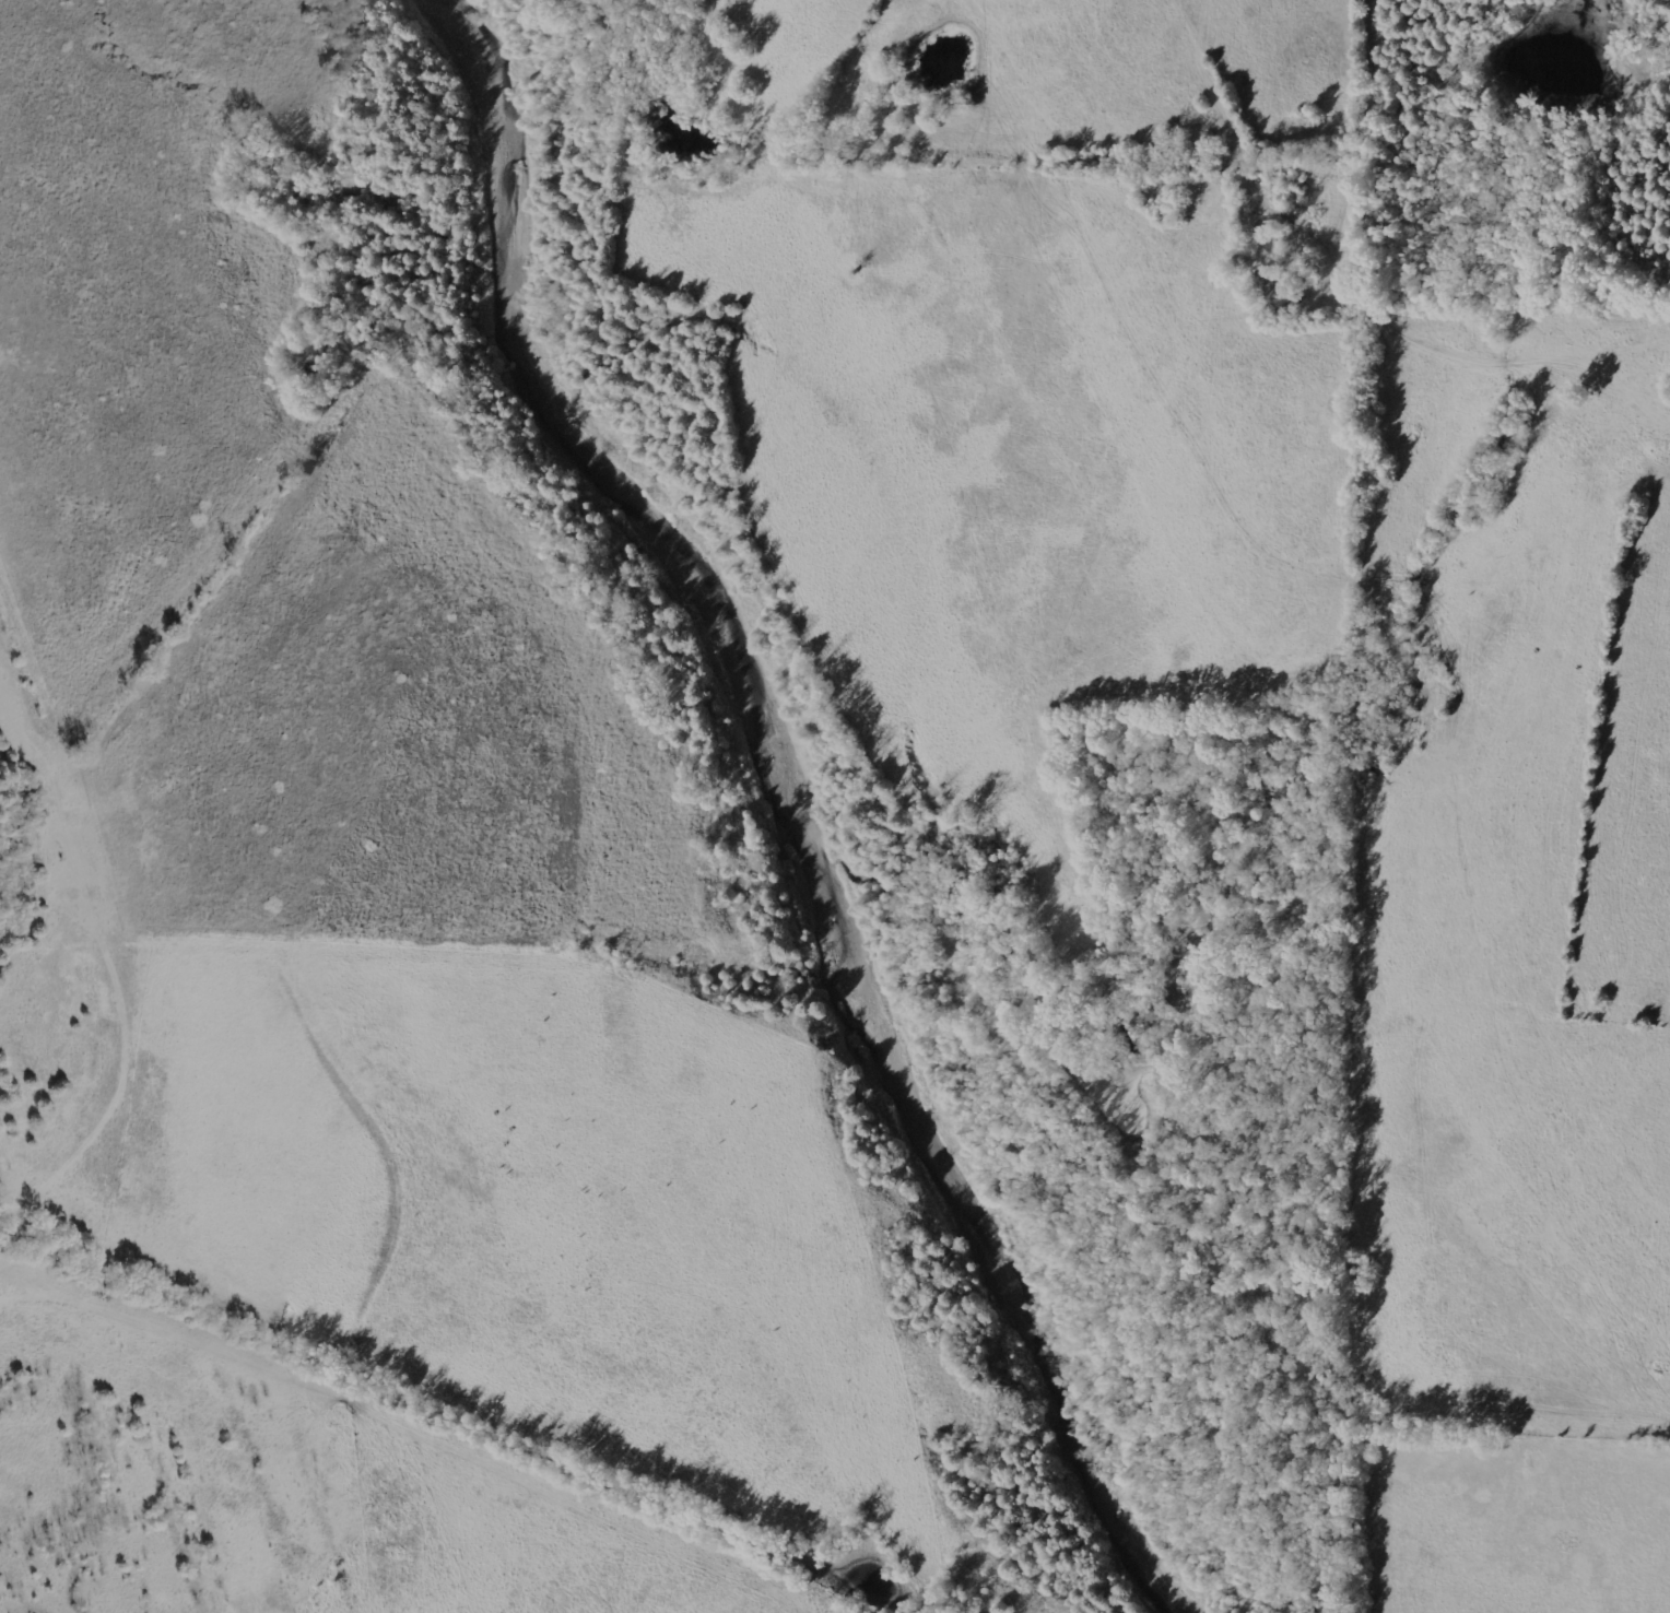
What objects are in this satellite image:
road: (1357, 54)

